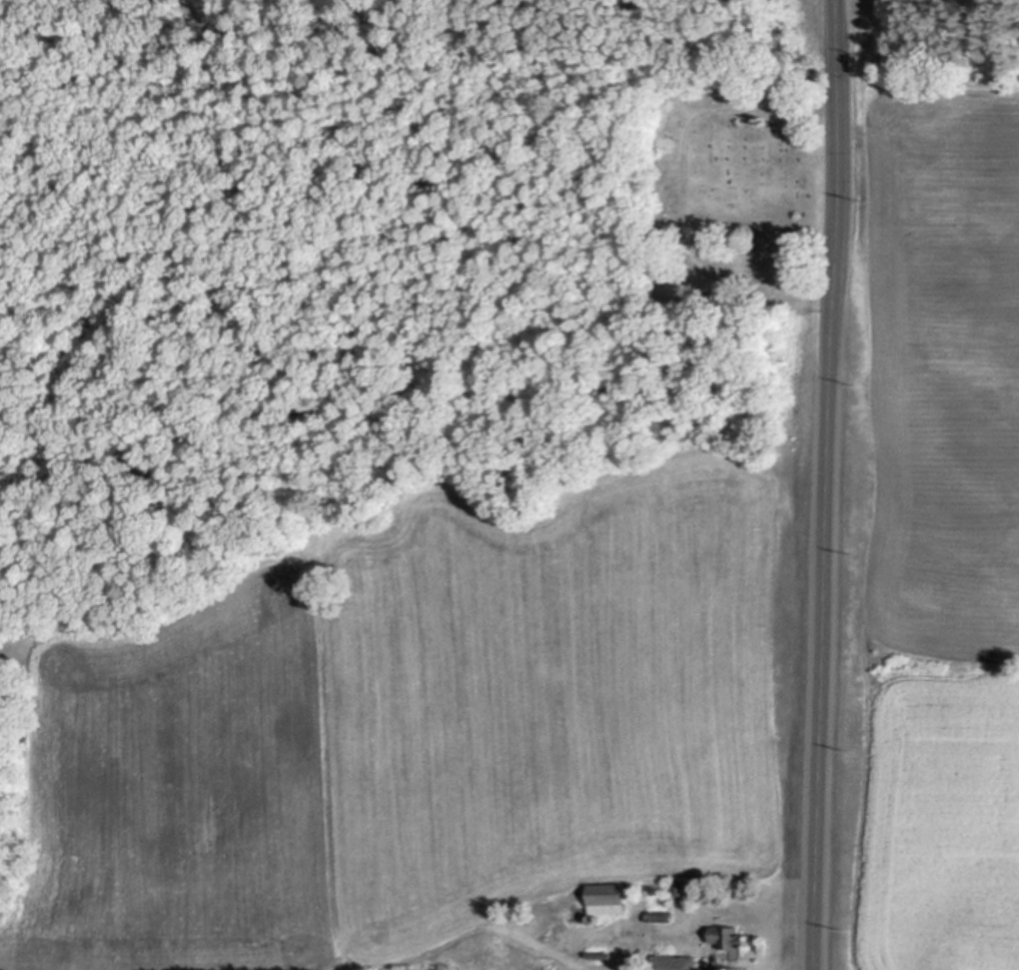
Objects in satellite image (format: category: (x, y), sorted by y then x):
park: (738, 188)
road: (688, 189)
road: (832, 485)
building: (678, 886)
building: (633, 888)
building: (609, 896)
building: (660, 914)
building: (595, 916)
building: (729, 935)
building: (602, 953)
building: (675, 961)

